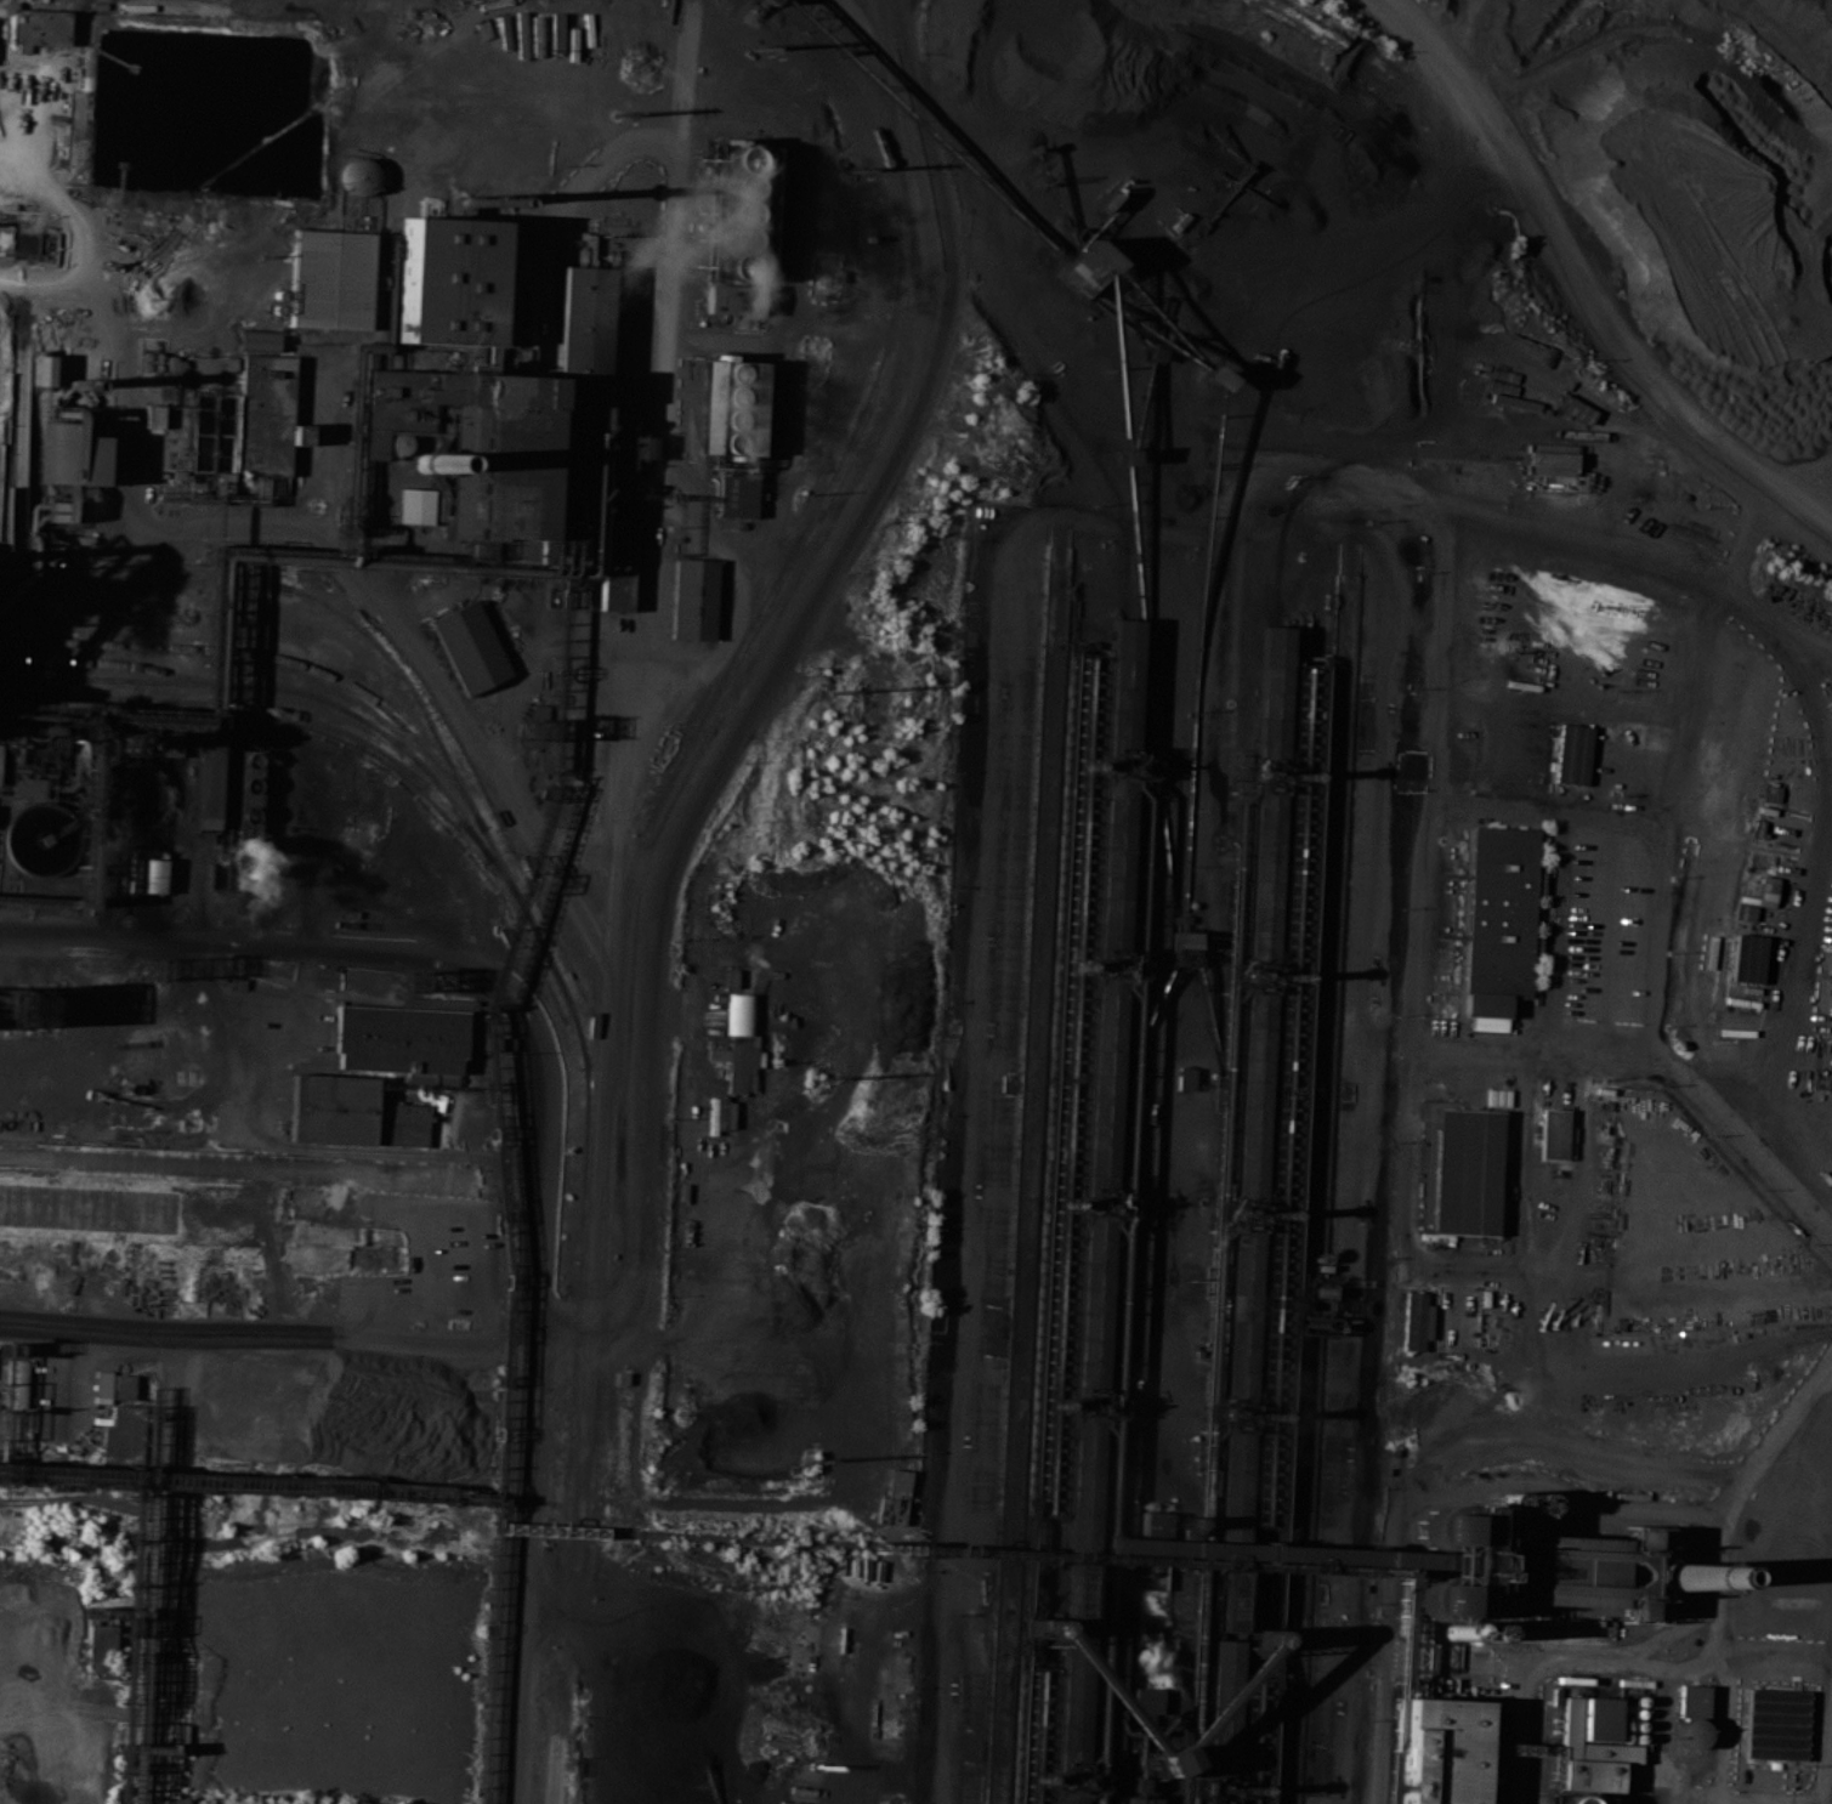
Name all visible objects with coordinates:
building: (765, 1)
building: (36, 25)
road: (682, 62)
building: (736, 225)
road: (798, 242)
road: (535, 256)
building: (1084, 265)
road: (41, 276)
building: (329, 279)
road: (1578, 295)
building: (732, 299)
building: (1164, 305)
building: (582, 317)
railway: (890, 330)
building: (257, 340)
building: (1151, 351)
building: (172, 363)
building: (39, 369)
building: (1210, 374)
building: (159, 380)
building: (728, 405)
building: (267, 412)
building: (151, 415)
road: (1264, 429)
building: (203, 432)
railway: (1520, 432)
railway: (1079, 433)
railway: (1219, 442)
building: (504, 456)
building: (1123, 456)
building: (1549, 456)
railway: (1549, 458)
railway: (1617, 461)
railway: (1339, 464)
road: (125, 472)
road: (1258, 489)
road: (699, 490)
building: (734, 494)
building: (414, 506)
road: (773, 540)
road: (715, 541)
road: (1611, 544)
building: (618, 567)
road: (1017, 578)
railway: (144, 582)
building: (696, 596)
road: (1775, 615)
road: (414, 645)
building: (473, 648)
railway: (274, 656)
railway: (124, 665)
road: (653, 676)
railway: (1119, 682)
building: (1122, 682)
railway: (279, 687)
road: (1803, 692)
building: (1271, 693)
railway: (1271, 693)
road: (1692, 707)
railway: (305, 717)
building: (168, 743)
building: (1570, 754)
railway: (1116, 761)
railway: (1267, 777)
building: (1514, 779)
building: (206, 784)
building: (248, 816)
railway: (1111, 861)
building: (1113, 861)
building: (144, 864)
building: (1261, 878)
railway: (1263, 878)
building: (1764, 891)
building: (1498, 909)
building: (1179, 918)
road: (1369, 925)
building: (1184, 938)
road: (1787, 948)
road: (357, 953)
building: (1746, 958)
railway: (1106, 960)
railway: (1258, 977)
railway: (569, 1003)
building: (1484, 1004)
building: (1732, 1025)
road: (1649, 1033)
building: (395, 1040)
building: (718, 1054)
building: (742, 1060)
building: (420, 1077)
building: (1184, 1078)
building: (1102, 1080)
railway: (1100, 1082)
road: (1779, 1087)
building: (1250, 1096)
railway: (1252, 1096)
building: (331, 1107)
building: (401, 1124)
building: (1550, 1134)
road: (1745, 1135)
road: (285, 1144)
road: (266, 1169)
building: (1464, 1169)
railway: (609, 1175)
road: (634, 1181)
railway: (1094, 1201)
railway: (1246, 1216)
road: (1458, 1263)
railway: (1089, 1301)
building: (1091, 1301)
building: (1241, 1315)
railway: (1241, 1315)
building: (1414, 1320)
road: (263, 1346)
road: (1817, 1362)
building: (102, 1386)
building: (123, 1386)
railway: (1084, 1402)
railway: (1236, 1413)
road: (1764, 1446)
building: (898, 1480)
building: (1232, 1484)
railway: (1081, 1485)
building: (1083, 1485)
railway: (1232, 1485)
road: (523, 1493)
building: (1152, 1521)
building: (1259, 1550)
building: (1451, 1561)
building: (1576, 1572)
building: (1644, 1572)
road: (160, 1573)
railway: (1227, 1592)
railway: (1074, 1593)
road: (1122, 1616)
building: (100, 1650)
road: (1428, 1651)
road: (1623, 1653)
road: (1706, 1662)
road: (750, 1663)
railway: (1070, 1697)
building: (1072, 1697)
building: (1691, 1700)
building: (1221, 1711)
railway: (1221, 1711)
building: (1775, 1724)
building: (178, 1738)
building: (1590, 1742)
building: (1437, 1751)
building: (1162, 1760)
railway: (1066, 1776)
railway: (1218, 1792)
railway: (1065, 1797)
building: (1067, 1797)
road: (1786, 1797)
building: (1571, 1799)

